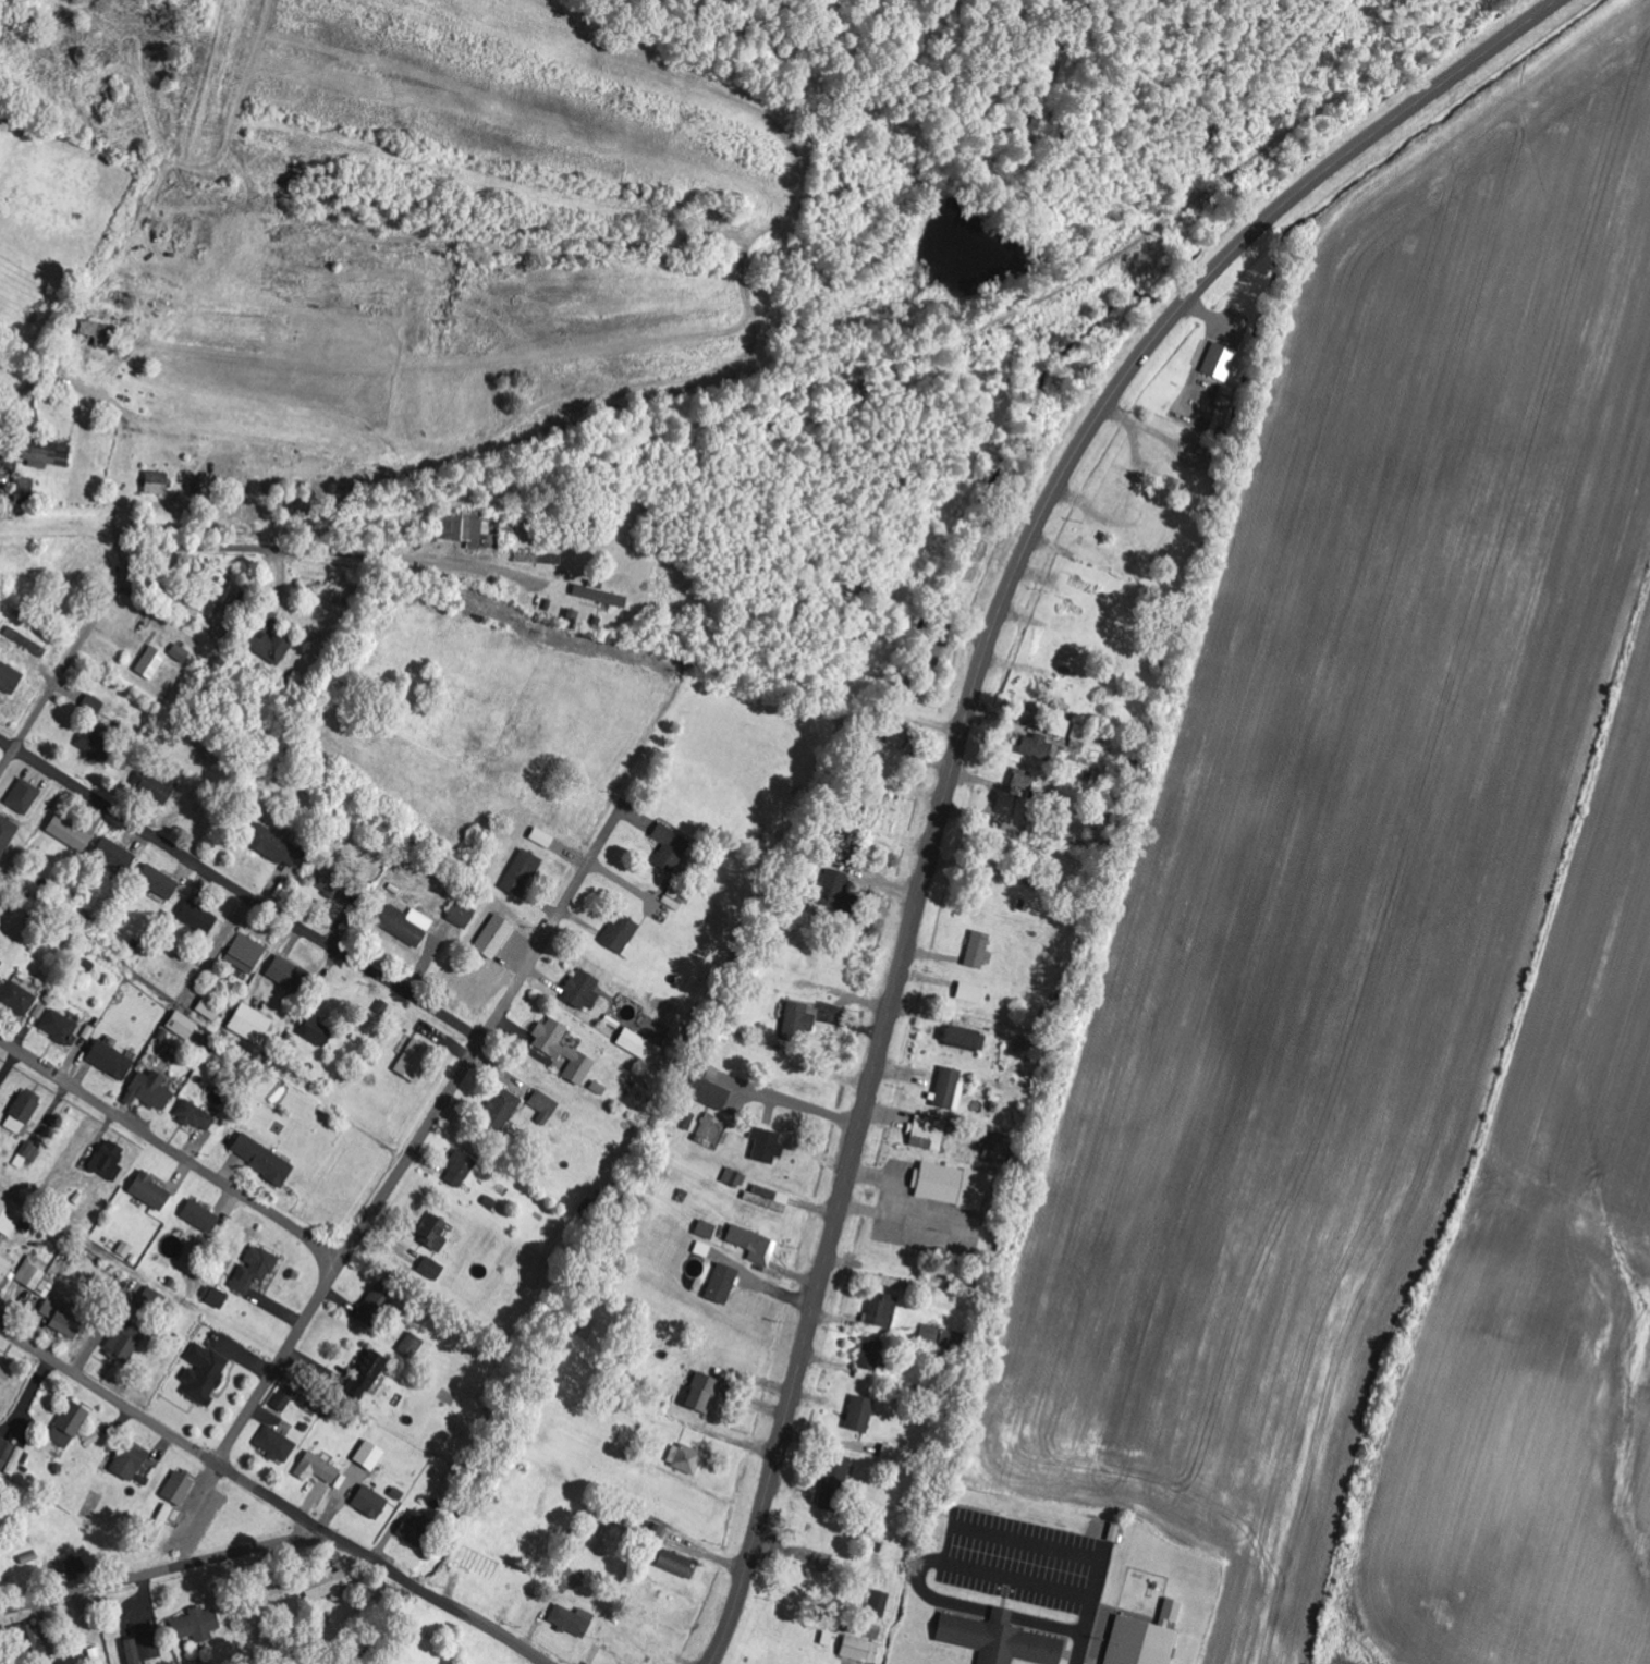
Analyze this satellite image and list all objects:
building: (97, 330)
building: (1221, 362)
building: (47, 453)
building: (158, 484)
building: (25, 491)
building: (463, 528)
road: (186, 548)
building: (539, 559)
building: (600, 595)
building: (230, 605)
building: (267, 638)
building: (26, 641)
building: (181, 653)
building: (152, 663)
building: (10, 677)
building: (95, 706)
road: (964, 727)
building: (1081, 734)
building: (97, 747)
building: (1036, 747)
building: (1024, 780)
building: (159, 790)
building: (24, 797)
building: (71, 833)
building: (7, 834)
building: (278, 845)
building: (671, 848)
building: (115, 855)
building: (523, 872)
building: (159, 883)
building: (334, 885)
road: (240, 892)
building: (842, 892)
building: (462, 915)
building: (199, 918)
building: (407, 925)
building: (623, 935)
building: (496, 937)
building: (981, 951)
building: (246, 954)
building: (288, 974)
building: (0, 976)
building: (584, 991)
building: (974, 994)
building: (19, 999)
building: (211, 1008)
building: (796, 1020)
building: (252, 1024)
building: (184, 1026)
building: (61, 1028)
building: (318, 1031)
building: (964, 1040)
building: (636, 1044)
building: (1026, 1045)
building: (564, 1051)
building: (112, 1061)
building: (416, 1061)
building: (951, 1090)
building: (150, 1091)
building: (711, 1092)
building: (546, 1108)
building: (24, 1112)
building: (196, 1116)
road: (423, 1136)
building: (934, 1139)
building: (768, 1146)
road: (172, 1151)
building: (28, 1154)
building: (264, 1160)
building: (109, 1161)
building: (461, 1170)
building: (734, 1178)
building: (151, 1192)
building: (962, 1194)
building: (770, 1199)
building: (201, 1216)
building: (10, 1219)
building: (707, 1231)
building: (435, 1234)
building: (755, 1246)
building: (4, 1269)
building: (432, 1269)
building: (254, 1270)
building: (37, 1277)
building: (724, 1284)
building: (895, 1288)
building: (216, 1297)
building: (378, 1304)
building: (883, 1316)
building: (64, 1318)
building: (126, 1343)
building: (413, 1346)
building: (877, 1360)
building: (7, 1369)
building: (204, 1374)
building: (366, 1378)
road: (109, 1392)
building: (705, 1394)
building: (285, 1398)
building: (867, 1420)
building: (70, 1426)
building: (94, 1437)
building: (277, 1445)
building: (891, 1454)
building: (370, 1456)
building: (10, 1457)
building: (686, 1459)
building: (130, 1461)
building: (318, 1469)
building: (838, 1485)
building: (180, 1490)
road: (273, 1497)
building: (371, 1503)
building: (416, 1528)
building: (660, 1533)
road: (1058, 1555)
building: (679, 1565)
building: (77, 1567)
parking lot: (1027, 1567)
road: (954, 1568)
road: (163, 1574)
building: (328, 1586)
road: (435, 1598)
building: (881, 1605)
building: (1172, 1613)
building: (574, 1622)
building: (196, 1625)
road: (1053, 1632)
building: (1003, 1641)
building: (30, 1642)
building: (1150, 1647)
building: (143, 1651)
building: (861, 1651)

